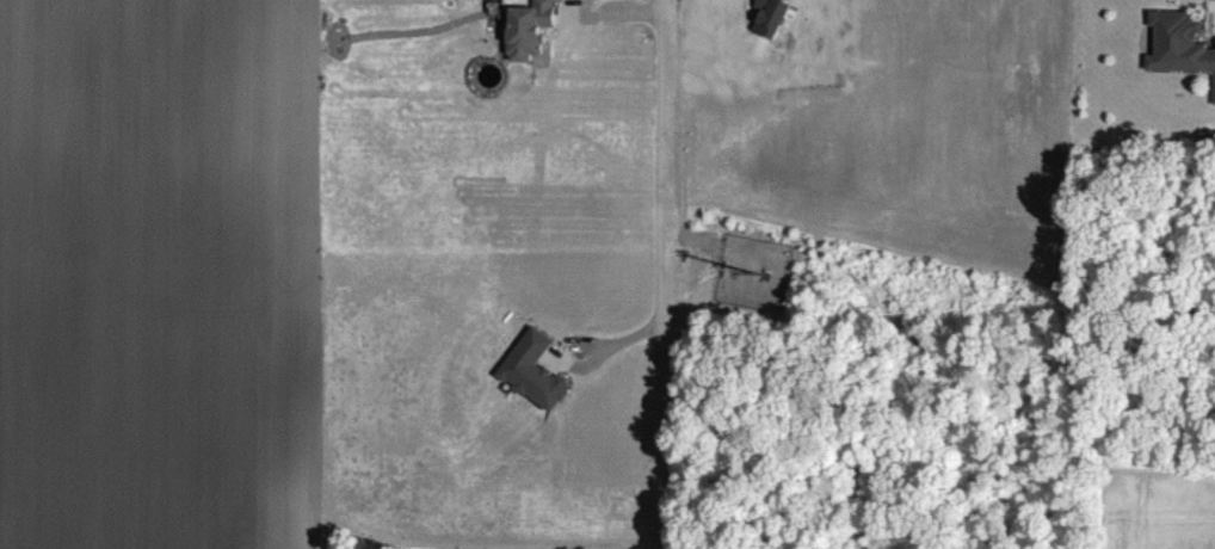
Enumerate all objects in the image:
building: (529, 41)
building: (1179, 57)
road: (660, 274)

